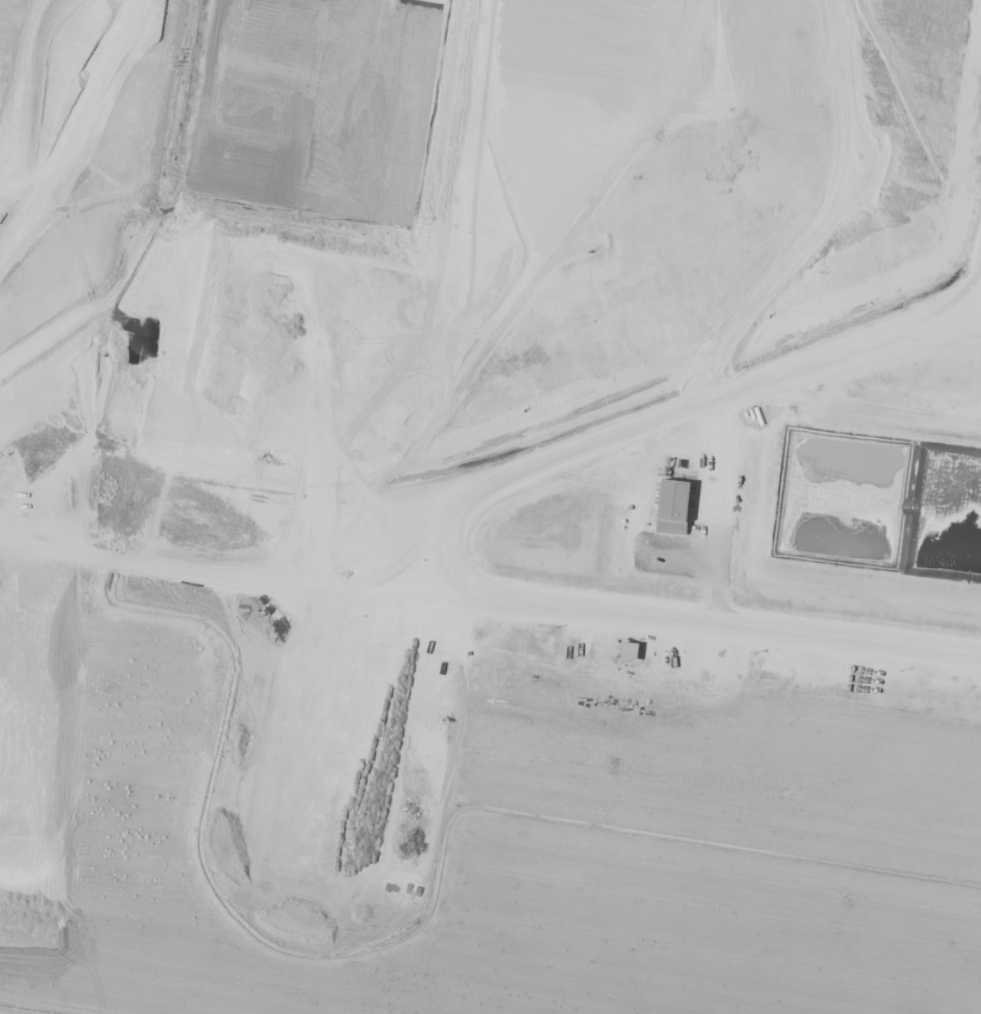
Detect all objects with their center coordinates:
landfill: (498, 492)
road: (722, 509)
road: (456, 525)

